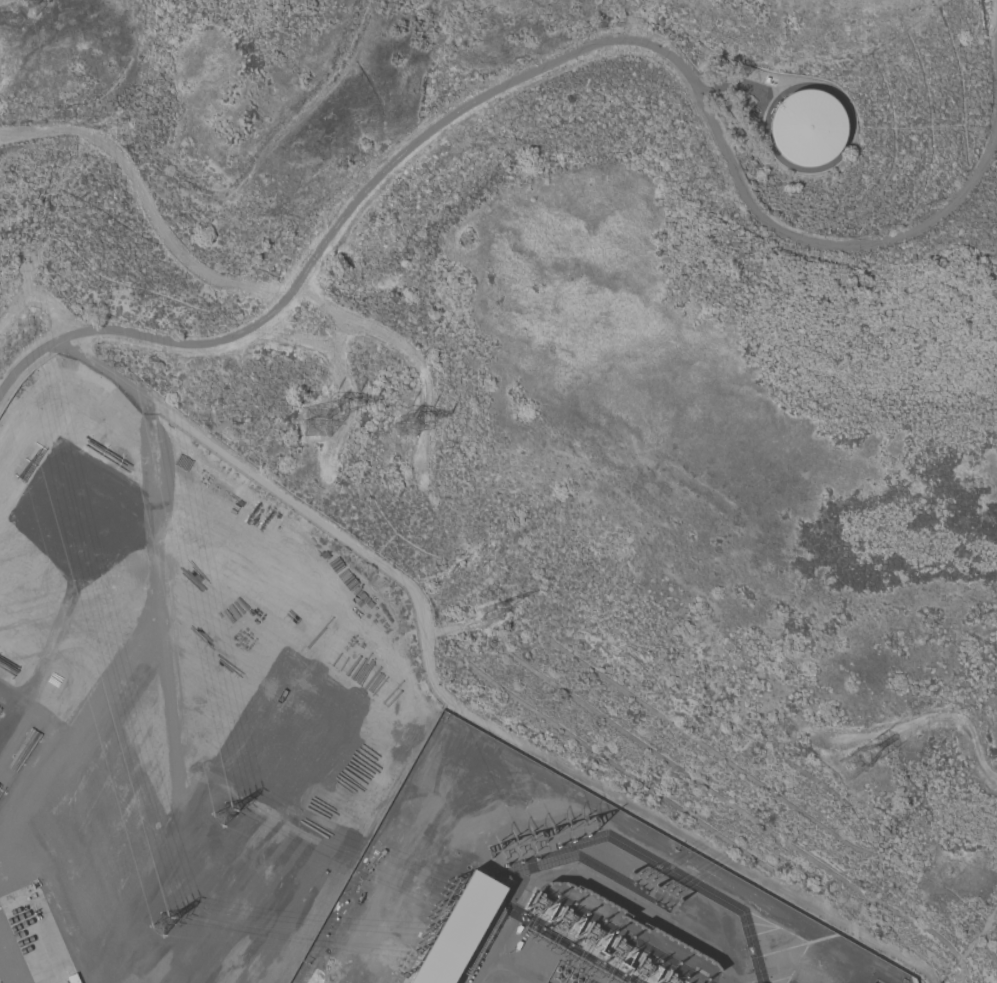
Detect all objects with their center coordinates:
road: (994, 46)
road: (559, 59)
building: (812, 129)
water tower: (802, 130)
power tower: (304, 420)
power tower: (401, 423)
road: (156, 557)
power tower: (491, 616)
power tower: (846, 764)
power tower: (217, 808)
power substation: (552, 889)
power tower: (154, 923)
building: (459, 929)
road: (2, 976)

